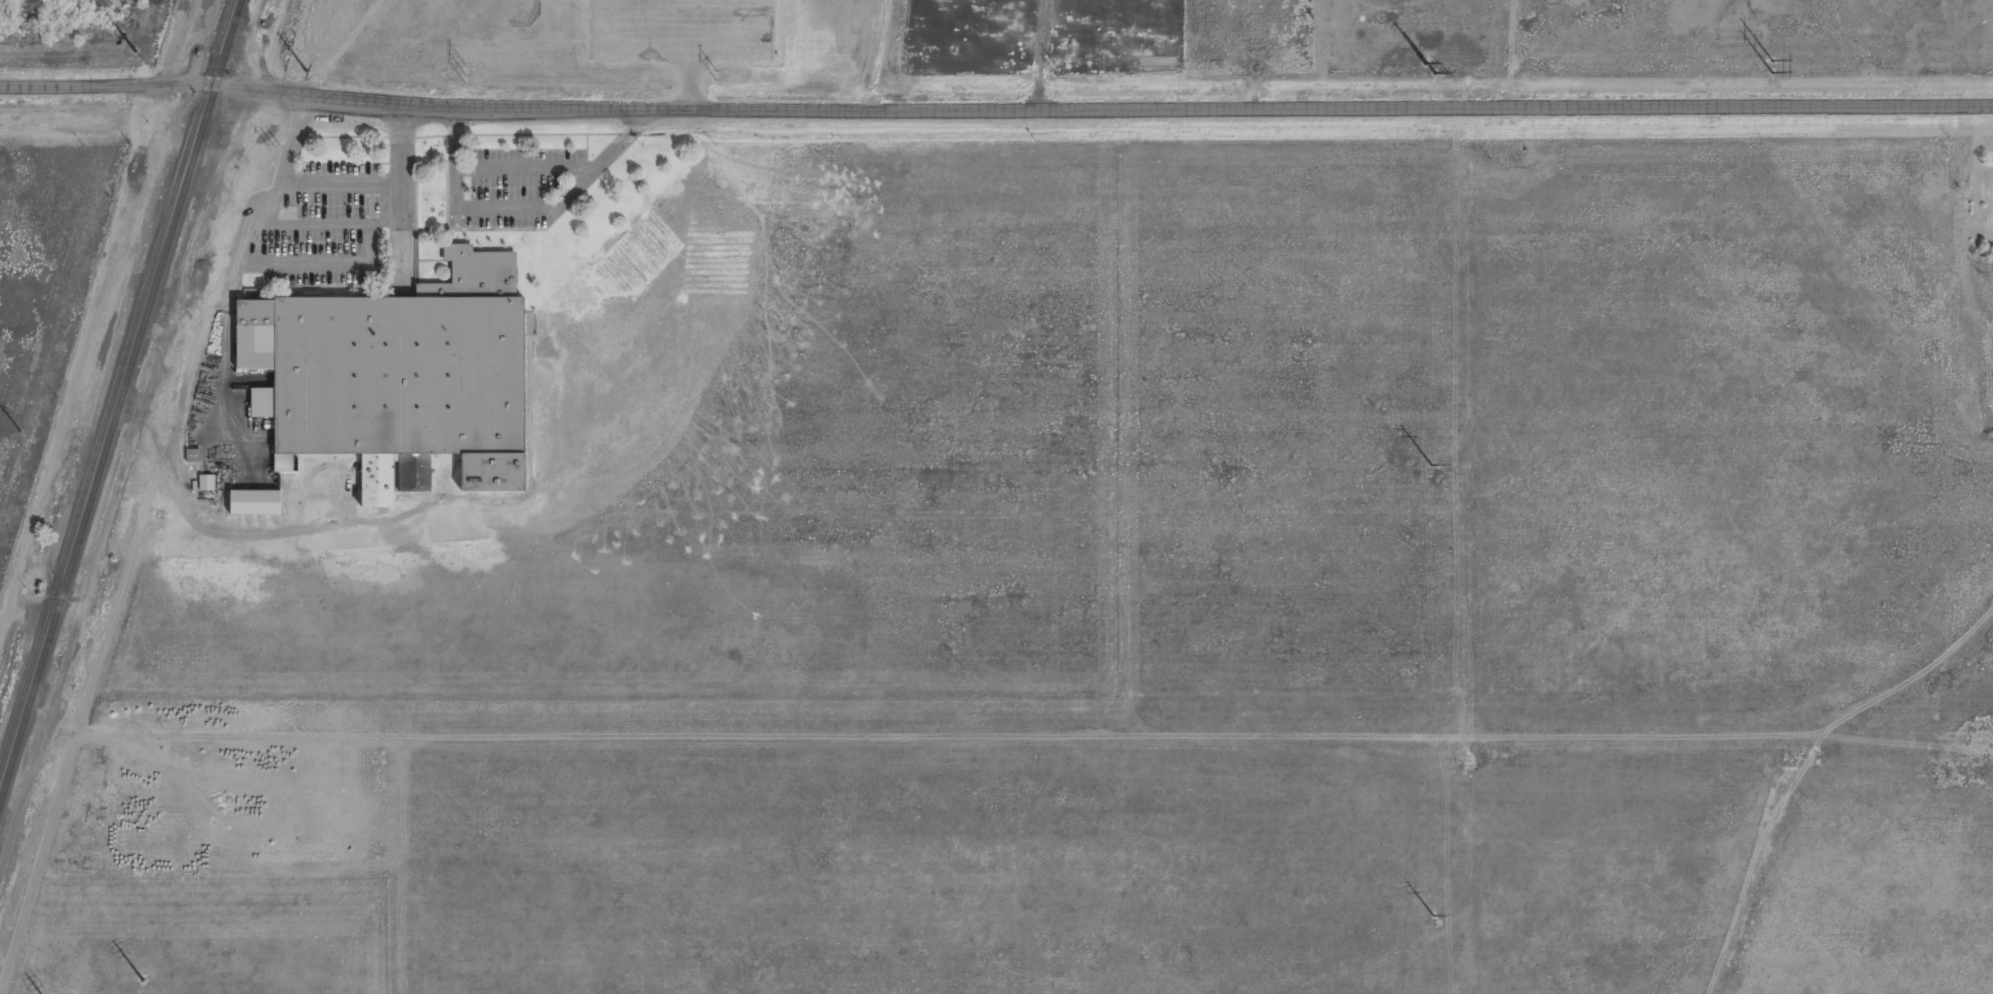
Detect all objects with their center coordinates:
power tower: (135, 52)
power tower: (1773, 67)
power tower: (1429, 70)
power tower: (307, 73)
power tower: (714, 75)
power tower: (1058, 75)
power tower: (464, 76)
road: (996, 108)
building: (388, 351)
railway: (116, 389)
building: (261, 403)
railway: (121, 407)
power tower: (21, 434)
building: (193, 455)
building: (283, 463)
power tower: (1432, 466)
building: (492, 473)
building: (392, 478)
building: (207, 483)
building: (255, 503)
power tower: (1434, 918)
power tower: (144, 980)

